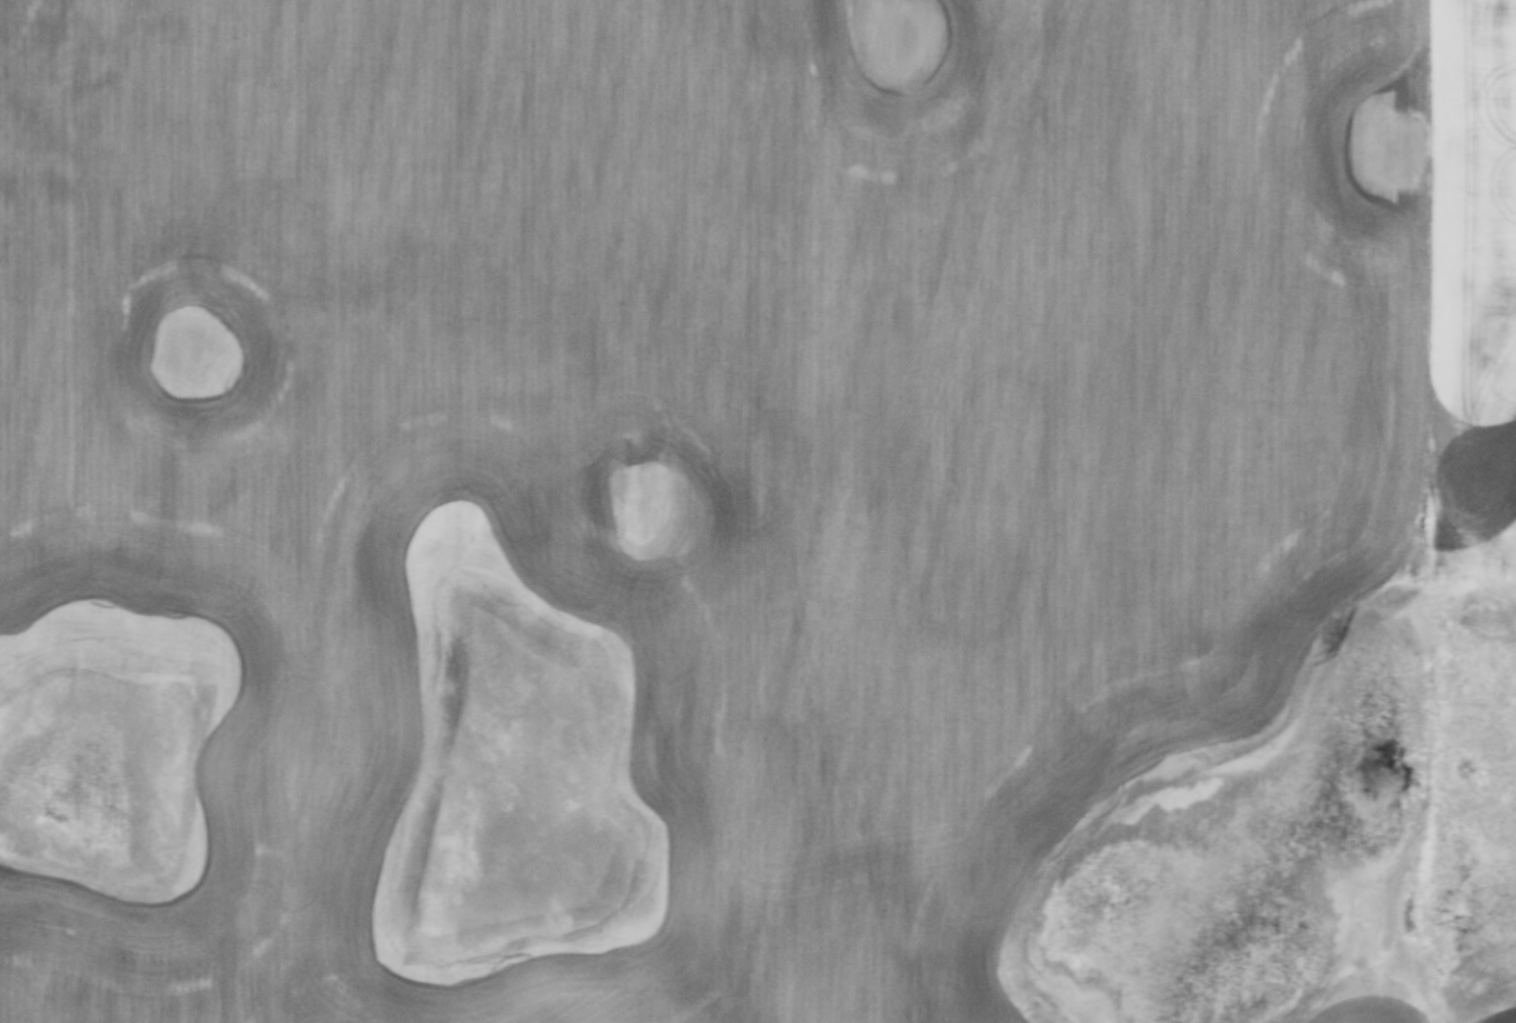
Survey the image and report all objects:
road: (1417, 511)

